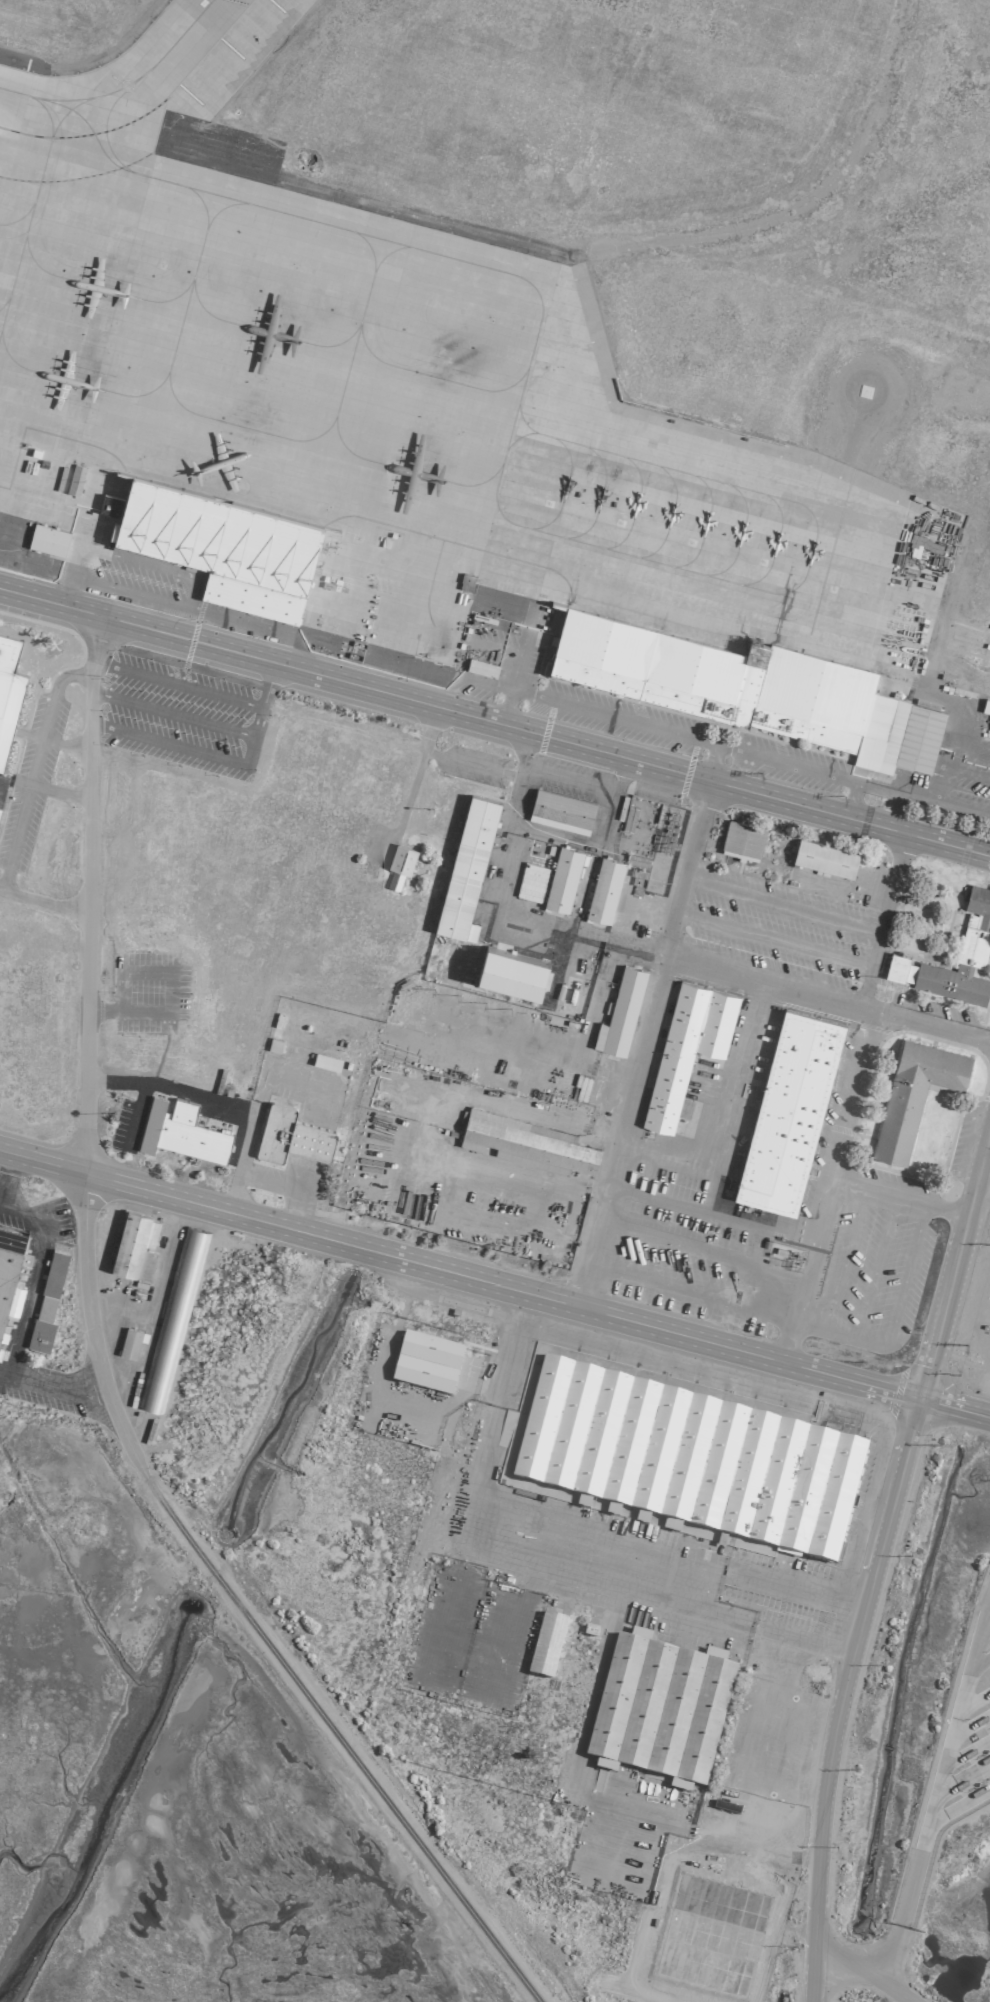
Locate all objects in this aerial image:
airport taxiway: (125, 89)
airport apron: (414, 406)
building: (109, 504)
building: (47, 539)
building: (222, 545)
road: (185, 638)
building: (481, 667)
road: (266, 684)
building: (745, 687)
building: (8, 690)
road: (169, 712)
road: (253, 725)
road: (680, 772)
building: (560, 811)
building: (741, 840)
road: (9, 850)
building: (823, 857)
building: (400, 858)
building: (466, 867)
building: (561, 879)
building: (393, 880)
road: (892, 881)
building: (530, 882)
building: (603, 889)
road: (820, 914)
road: (773, 939)
building: (973, 941)
building: (511, 970)
road: (828, 997)
airport: (495, 1001)
building: (619, 1013)
road: (641, 1042)
building: (274, 1044)
building: (686, 1047)
building: (913, 1093)
building: (788, 1111)
building: (180, 1131)
building: (290, 1135)
building: (526, 1142)
road: (6, 1171)
road: (984, 1171)
road: (827, 1186)
road: (874, 1194)
road: (12, 1210)
road: (942, 1211)
building: (134, 1245)
building: (10, 1269)
road: (494, 1283)
building: (46, 1301)
building: (172, 1313)
road: (798, 1320)
road: (20, 1330)
building: (129, 1342)
building: (1, 1343)
building: (425, 1361)
road: (99, 1376)
building: (690, 1459)
road: (883, 1525)
road: (565, 1542)
building: (545, 1642)
building: (658, 1708)
road: (913, 1868)
road: (811, 1967)
road: (864, 1967)

